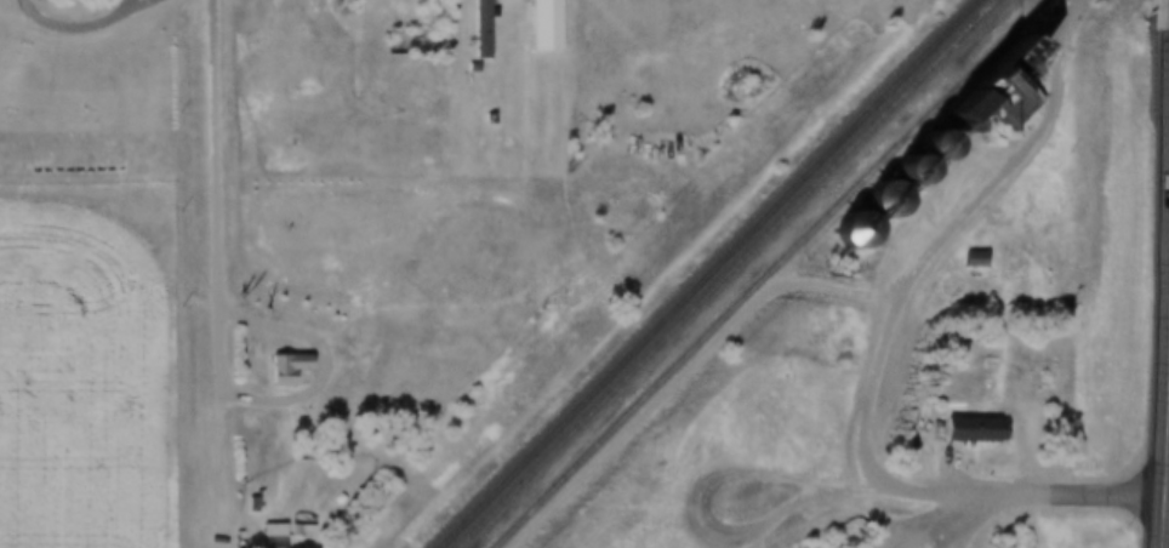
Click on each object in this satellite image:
road: (143, 4)
building: (549, 24)
building: (485, 28)
road: (78, 32)
road: (219, 155)
building: (980, 258)
railway: (724, 273)
railway: (766, 274)
railway: (703, 275)
road: (883, 353)
building: (292, 366)
road: (312, 389)
building: (981, 428)
road: (1165, 458)
road: (936, 519)
building: (278, 533)

